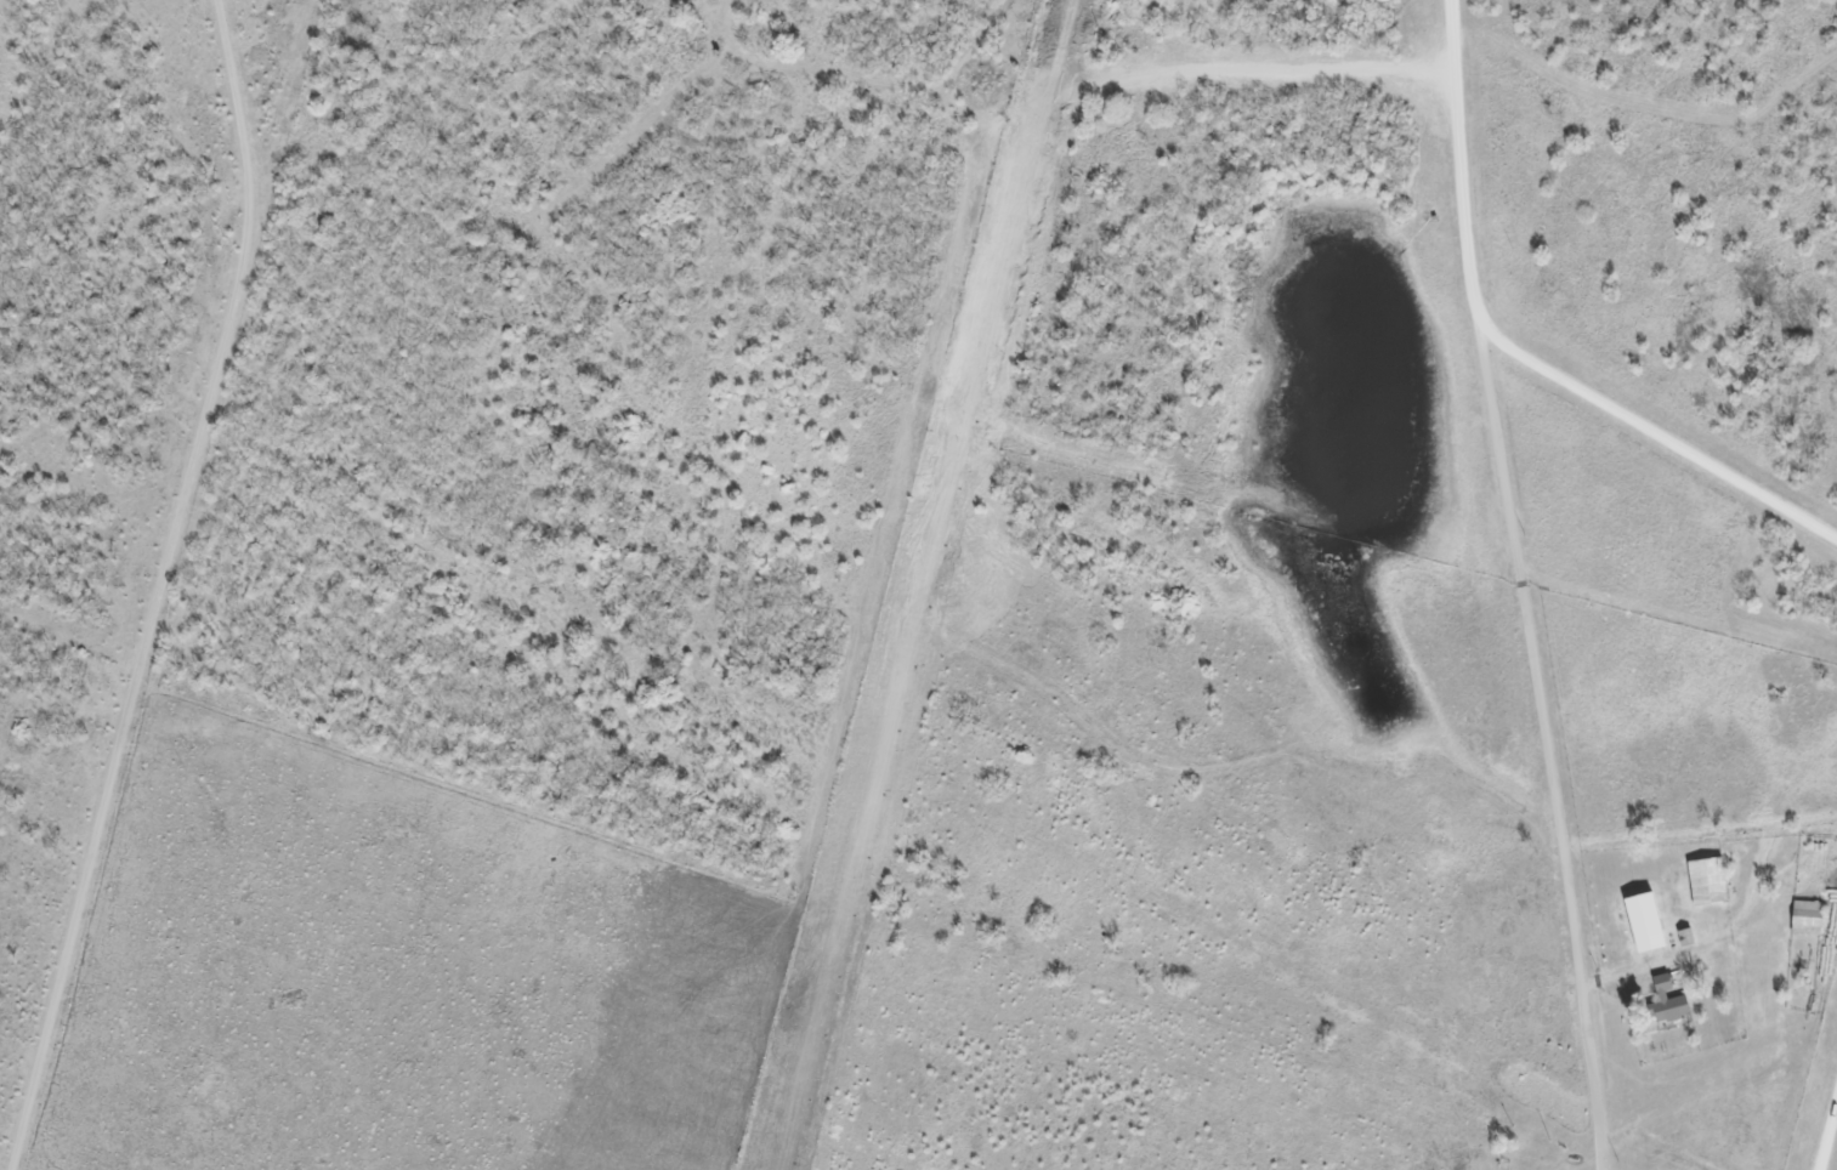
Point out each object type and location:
road: (1521, 585)
road: (160, 586)
building: (1713, 881)
building: (1813, 918)
building: (1650, 922)
building: (1693, 936)
building: (1676, 994)
building: (1668, 1003)

